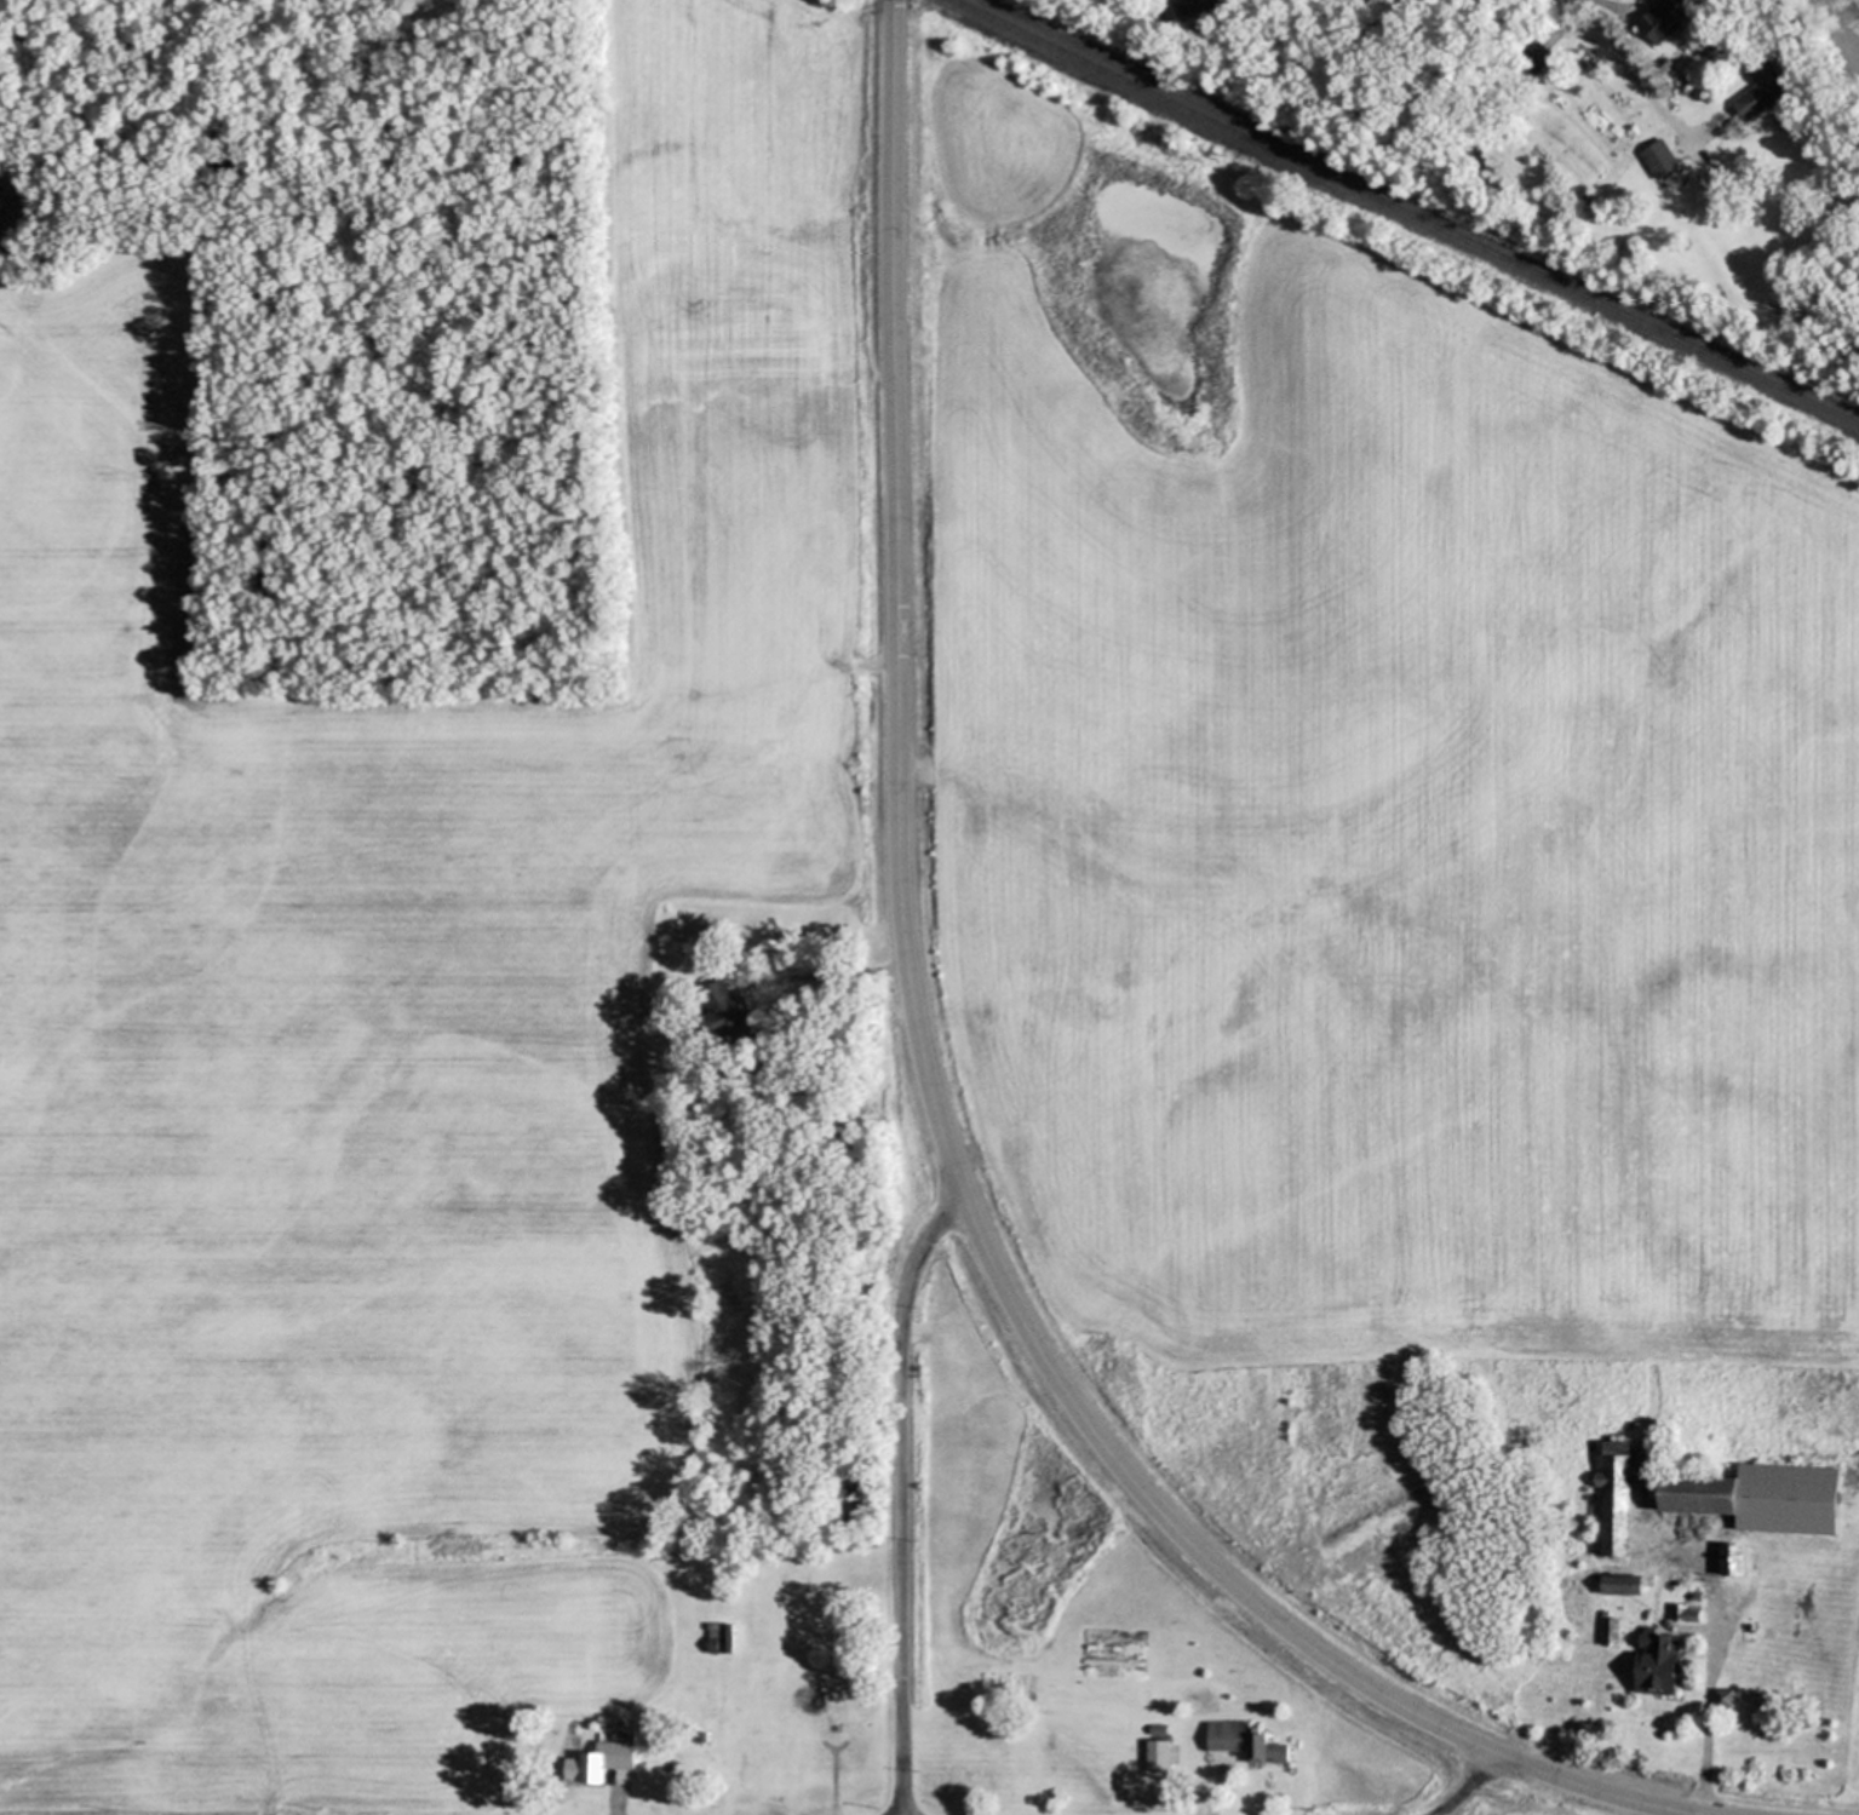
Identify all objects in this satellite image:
building: (1197, 7)
building: (1659, 21)
building: (1537, 58)
road: (1625, 68)
building: (1760, 91)
building: (1658, 161)
railway: (1406, 211)
road: (826, 977)
building: (727, 1015)
road: (935, 1103)
road: (897, 1497)
building: (1696, 1497)
building: (1611, 1500)
building: (1786, 1500)
building: (1731, 1561)
building: (1620, 1586)
building: (1685, 1616)
building: (1610, 1633)
building: (715, 1637)
building: (730, 1638)
building: (1656, 1665)
building: (1722, 1700)
road: (1710, 1710)
building: (704, 1736)
building: (1240, 1746)
building: (1157, 1757)
building: (608, 1759)
road: (1459, 1785)
road: (1210, 1800)

